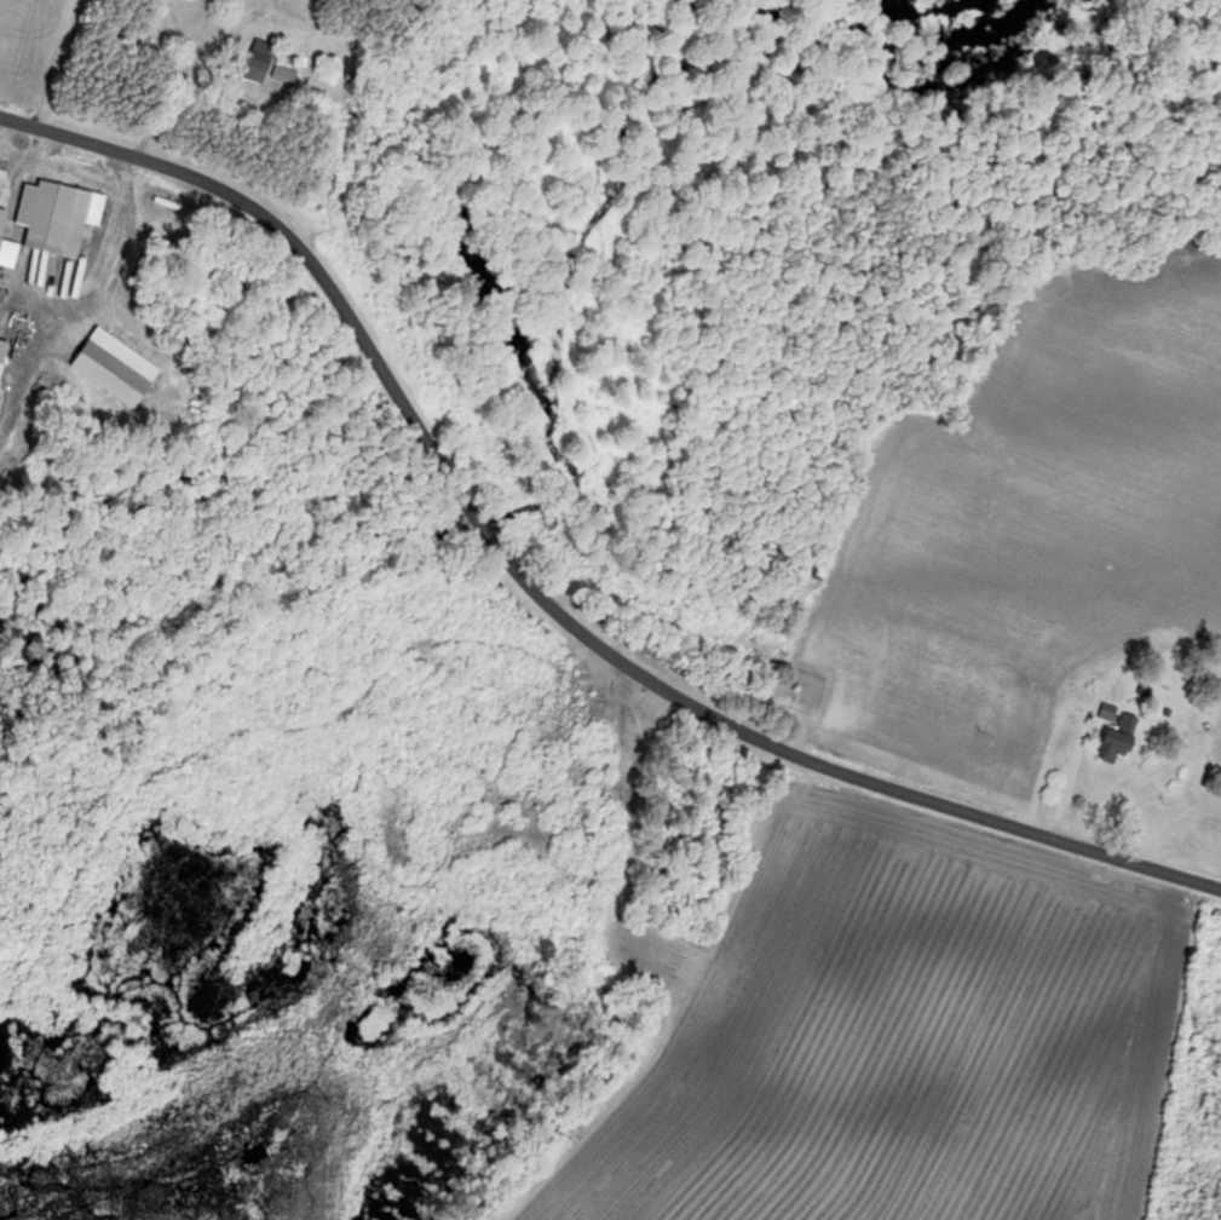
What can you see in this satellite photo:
building: (267, 65)
road: (191, 71)
building: (2, 175)
building: (56, 217)
building: (1, 246)
building: (4, 359)
road: (540, 591)
building: (1122, 737)

